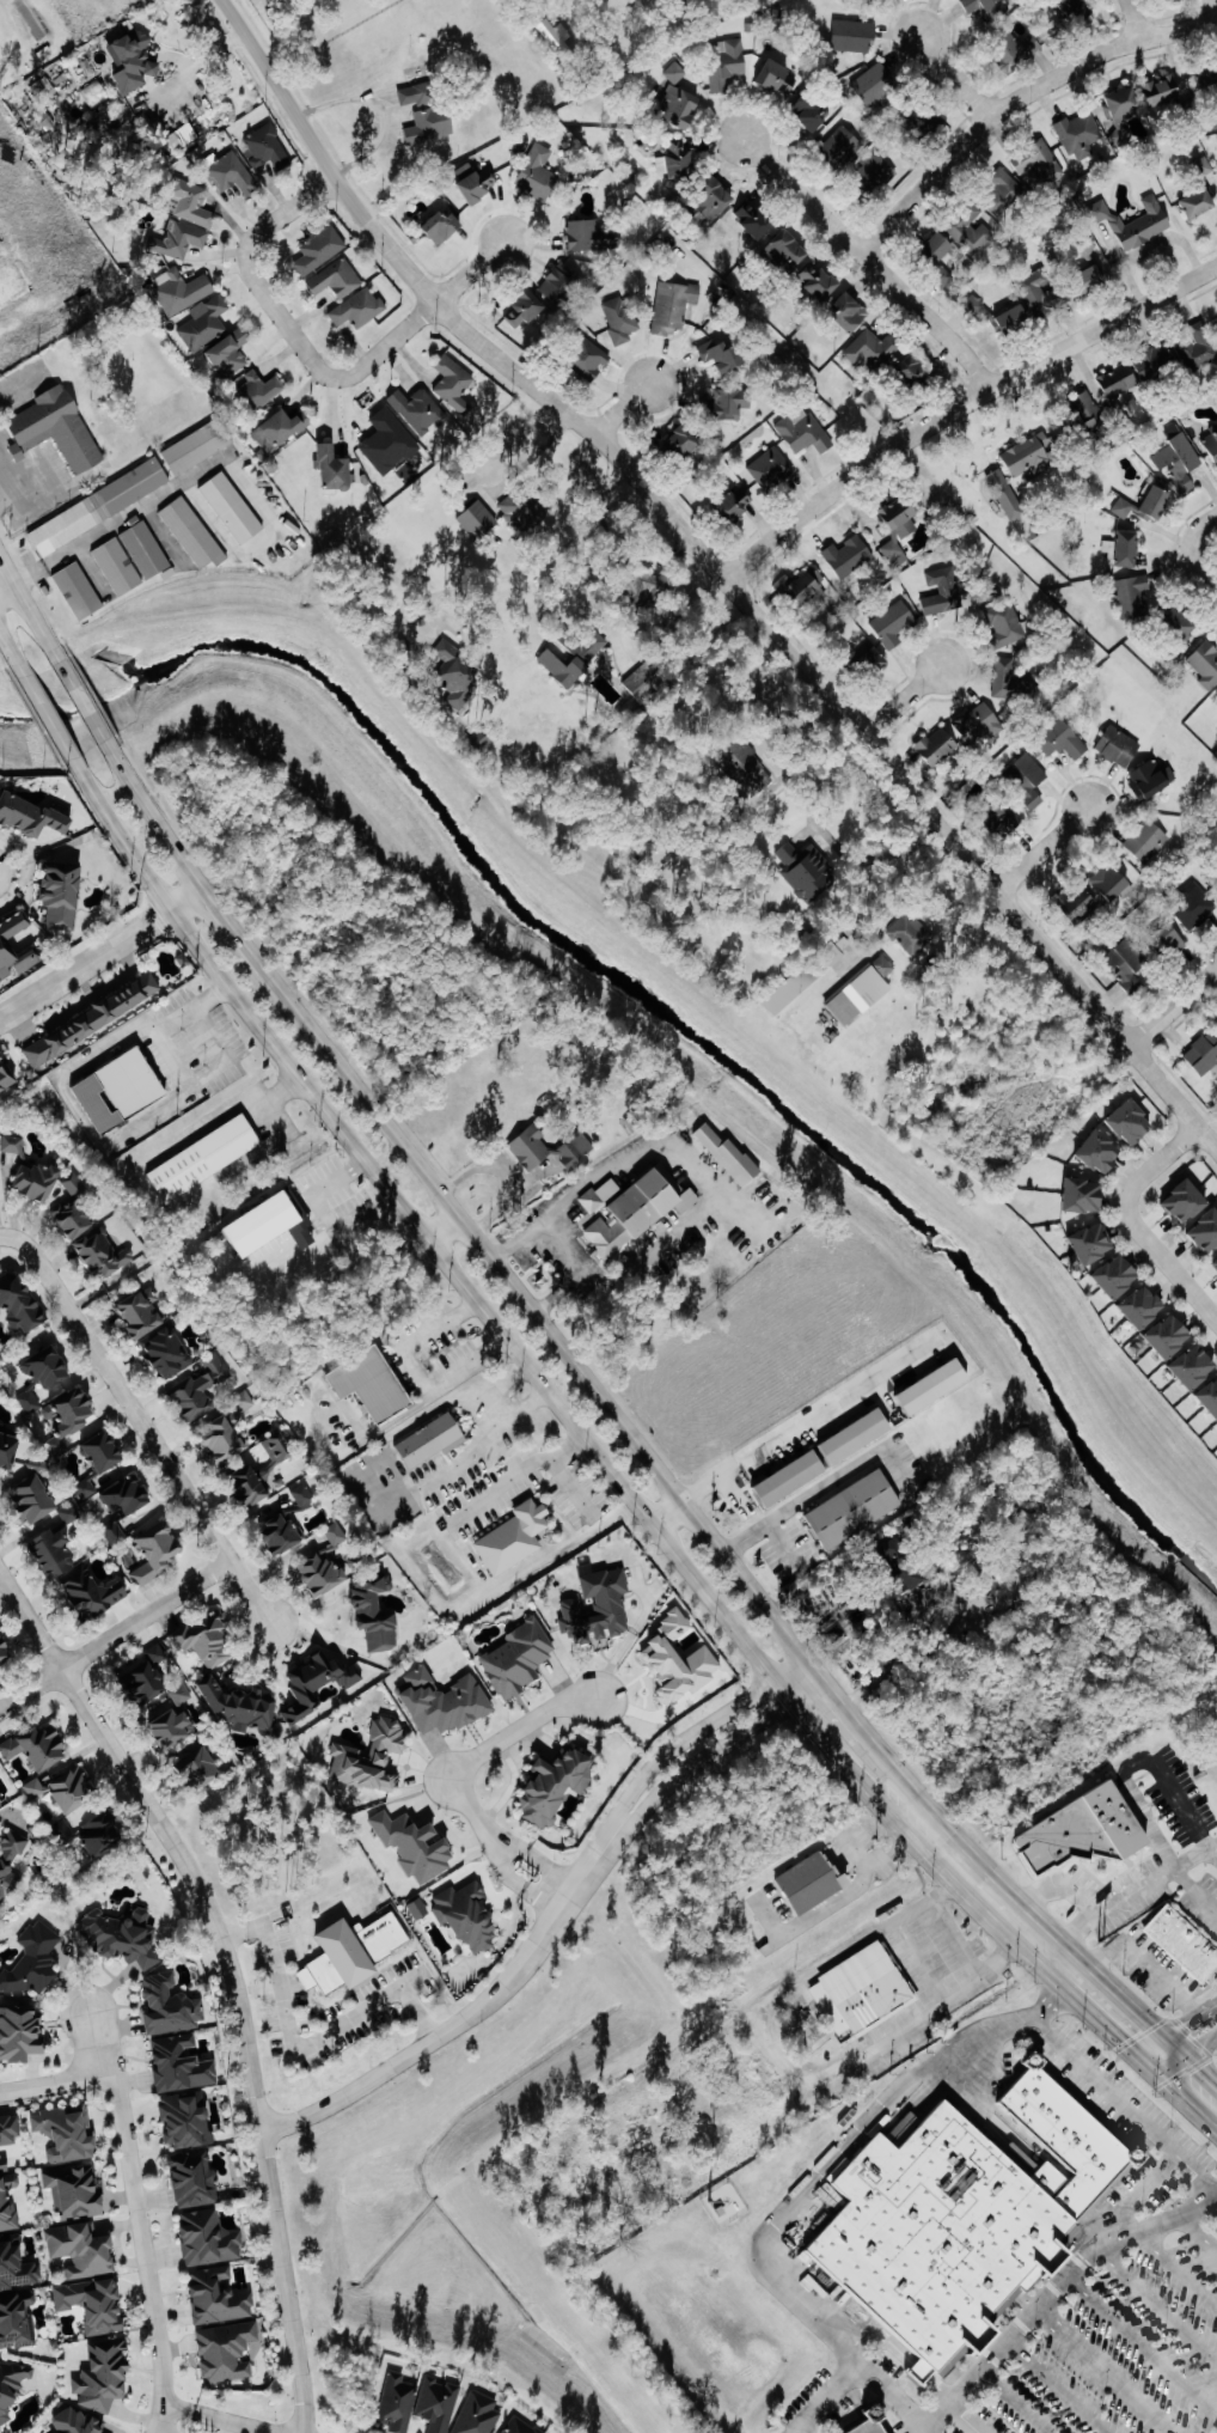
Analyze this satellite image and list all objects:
building: (873, 0)
building: (987, 7)
building: (1076, 8)
road: (1133, 20)
building: (852, 36)
building: (556, 37)
road: (516, 48)
building: (133, 61)
building: (727, 62)
road: (198, 63)
building: (675, 73)
road: (955, 77)
building: (778, 78)
building: (1210, 80)
building: (875, 85)
building: (1164, 90)
building: (414, 94)
road: (1017, 99)
building: (679, 106)
building: (1123, 108)
road: (383, 110)
building: (811, 112)
building: (432, 126)
building: (1081, 135)
building: (842, 147)
building: (267, 148)
building: (679, 159)
building: (1038, 165)
building: (1203, 166)
building: (875, 172)
building: (233, 175)
building: (539, 175)
building: (476, 184)
building: (1004, 194)
building: (191, 203)
building: (714, 203)
building: (1201, 205)
road: (289, 213)
building: (758, 220)
building: (1132, 224)
building: (444, 226)
building: (972, 231)
building: (591, 236)
building: (182, 239)
building: (940, 248)
building: (319, 250)
road: (870, 260)
building: (801, 266)
building: (943, 276)
building: (336, 279)
building: (563, 283)
building: (184, 292)
building: (1041, 294)
building: (673, 306)
building: (359, 309)
building: (526, 310)
building: (850, 312)
road: (285, 315)
building: (1016, 319)
road: (422, 321)
building: (620, 321)
building: (206, 325)
building: (1216, 325)
building: (1197, 348)
building: (873, 352)
building: (232, 353)
building: (723, 356)
building: (591, 361)
building: (1157, 364)
building: (916, 373)
building: (1119, 382)
building: (454, 384)
building: (259, 390)
building: (733, 403)
road: (960, 405)
building: (420, 410)
road: (624, 410)
building: (1090, 411)
building: (57, 428)
building: (280, 431)
building: (1173, 433)
building: (806, 434)
building: (1212, 441)
building: (390, 443)
building: (687, 443)
building: (197, 445)
building: (1187, 453)
building: (1029, 455)
road: (532, 457)
building: (770, 468)
building: (336, 469)
road: (7, 481)
building: (1005, 495)
building: (1157, 502)
building: (736, 504)
building: (99, 506)
building: (232, 506)
building: (1124, 508)
building: (521, 511)
building: (478, 522)
building: (899, 528)
building: (192, 532)
road: (1194, 532)
building: (146, 549)
building: (1124, 550)
building: (848, 556)
road: (548, 560)
building: (117, 565)
road: (718, 571)
road: (1199, 583)
building: (805, 587)
building: (77, 589)
building: (649, 592)
building: (943, 592)
road: (10, 593)
building: (1136, 597)
road: (30, 608)
building: (1180, 623)
building: (893, 624)
building: (1005, 624)
road: (13, 650)
building: (872, 664)
building: (1206, 665)
building: (565, 669)
building: (457, 676)
building: (1007, 679)
building: (644, 681)
road: (84, 701)
road: (901, 702)
road: (49, 718)
building: (979, 725)
building: (1063, 742)
building: (938, 746)
building: (1118, 746)
road: (805, 755)
building: (750, 770)
building: (1028, 780)
building: (1152, 780)
road: (152, 815)
building: (31, 817)
building: (1007, 817)
road: (120, 834)
building: (1146, 841)
road: (1042, 850)
building: (807, 870)
building: (1111, 882)
road: (904, 895)
building: (62, 896)
road: (185, 897)
building: (1193, 904)
building: (1078, 907)
road: (232, 928)
building: (911, 934)
building: (1170, 941)
building: (16, 949)
road: (84, 963)
building: (1130, 967)
building: (863, 992)
road: (1173, 1007)
building: (94, 1022)
building: (1216, 1029)
building: (1200, 1054)
building: (7, 1079)
building: (121, 1091)
building: (1123, 1122)
building: (1, 1135)
building: (12, 1145)
building: (532, 1148)
building: (576, 1151)
building: (1093, 1151)
building: (730, 1155)
building: (207, 1159)
building: (38, 1181)
building: (74, 1187)
building: (1075, 1195)
building: (1175, 1201)
building: (606, 1212)
building: (74, 1219)
building: (267, 1226)
road: (1131, 1227)
road: (444, 1230)
building: (1200, 1231)
building: (306, 1238)
building: (1083, 1243)
road: (562, 1245)
building: (105, 1256)
building: (1212, 1264)
building: (1107, 1276)
building: (22, 1304)
building: (1133, 1306)
road: (533, 1313)
building: (142, 1316)
building: (1160, 1336)
road: (524, 1364)
building: (1185, 1366)
building: (49, 1367)
building: (218, 1368)
road: (416, 1371)
building: (374, 1384)
building: (937, 1386)
building: (1206, 1396)
building: (194, 1397)
building: (244, 1401)
road: (487, 1409)
building: (77, 1410)
road: (142, 1422)
road: (801, 1423)
road: (387, 1425)
building: (1215, 1427)
building: (858, 1437)
building: (224, 1440)
building: (433, 1440)
building: (279, 1449)
building: (8, 1450)
building: (104, 1451)
building: (793, 1478)
building: (252, 1484)
building: (35, 1494)
building: (129, 1495)
building: (305, 1496)
road: (356, 1504)
building: (856, 1508)
road: (669, 1513)
road: (770, 1523)
building: (336, 1533)
building: (282, 1535)
building: (514, 1538)
building: (54, 1551)
building: (159, 1551)
building: (323, 1574)
building: (93, 1592)
road: (931, 1597)
building: (599, 1609)
building: (377, 1615)
road: (116, 1636)
building: (208, 1640)
building: (5, 1651)
building: (519, 1659)
building: (678, 1661)
building: (148, 1678)
building: (317, 1684)
building: (181, 1695)
road: (837, 1696)
road: (582, 1699)
building: (446, 1702)
building: (240, 1706)
building: (172, 1728)
road: (701, 1728)
road: (718, 1746)
building: (38, 1748)
building: (372, 1758)
building: (0, 1766)
building: (202, 1768)
building: (557, 1785)
road: (1131, 1787)
road: (453, 1788)
building: (35, 1789)
building: (72, 1789)
road: (909, 1792)
building: (0, 1805)
road: (917, 1831)
building: (1082, 1834)
building: (103, 1835)
building: (416, 1846)
building: (10, 1862)
building: (812, 1883)
road: (850, 1889)
road: (1135, 1898)
building: (420, 1909)
road: (1011, 1915)
building: (469, 1916)
building: (122, 1935)
building: (354, 1953)
building: (33, 1962)
road: (231, 1972)
road: (929, 1972)
building: (864, 1990)
building: (171, 2006)
road: (472, 2013)
road: (1119, 2017)
road: (1182, 2023)
building: (20, 2033)
road: (94, 2043)
road: (300, 2044)
road: (1188, 2047)
road: (776, 2055)
traffic signals: (1158, 2055)
building: (183, 2065)
road: (1187, 2081)
road: (1137, 2118)
building: (188, 2120)
building: (10, 2132)
building: (67, 2134)
building: (4, 2164)
road: (1194, 2173)
road: (825, 2176)
building: (195, 2179)
building: (75, 2191)
road: (135, 2199)
building: (8, 2203)
building: (940, 2227)
road: (1197, 2234)
building: (209, 2239)
building: (82, 2251)
building: (17, 2268)
road: (1175, 2273)
road: (1051, 2287)
building: (219, 2298)
building: (96, 2305)
road: (1156, 2306)
building: (17, 2321)
road: (1139, 2346)
building: (227, 2352)
road: (1099, 2370)
building: (104, 2377)
road: (1056, 2385)
building: (12, 2388)
road: (885, 2392)
road: (1008, 2402)
building: (398, 2403)
building: (439, 2404)
building: (490, 2417)
road: (959, 2417)
road: (218, 2419)
building: (876, 2423)
road: (230, 2427)
road: (918, 2431)

